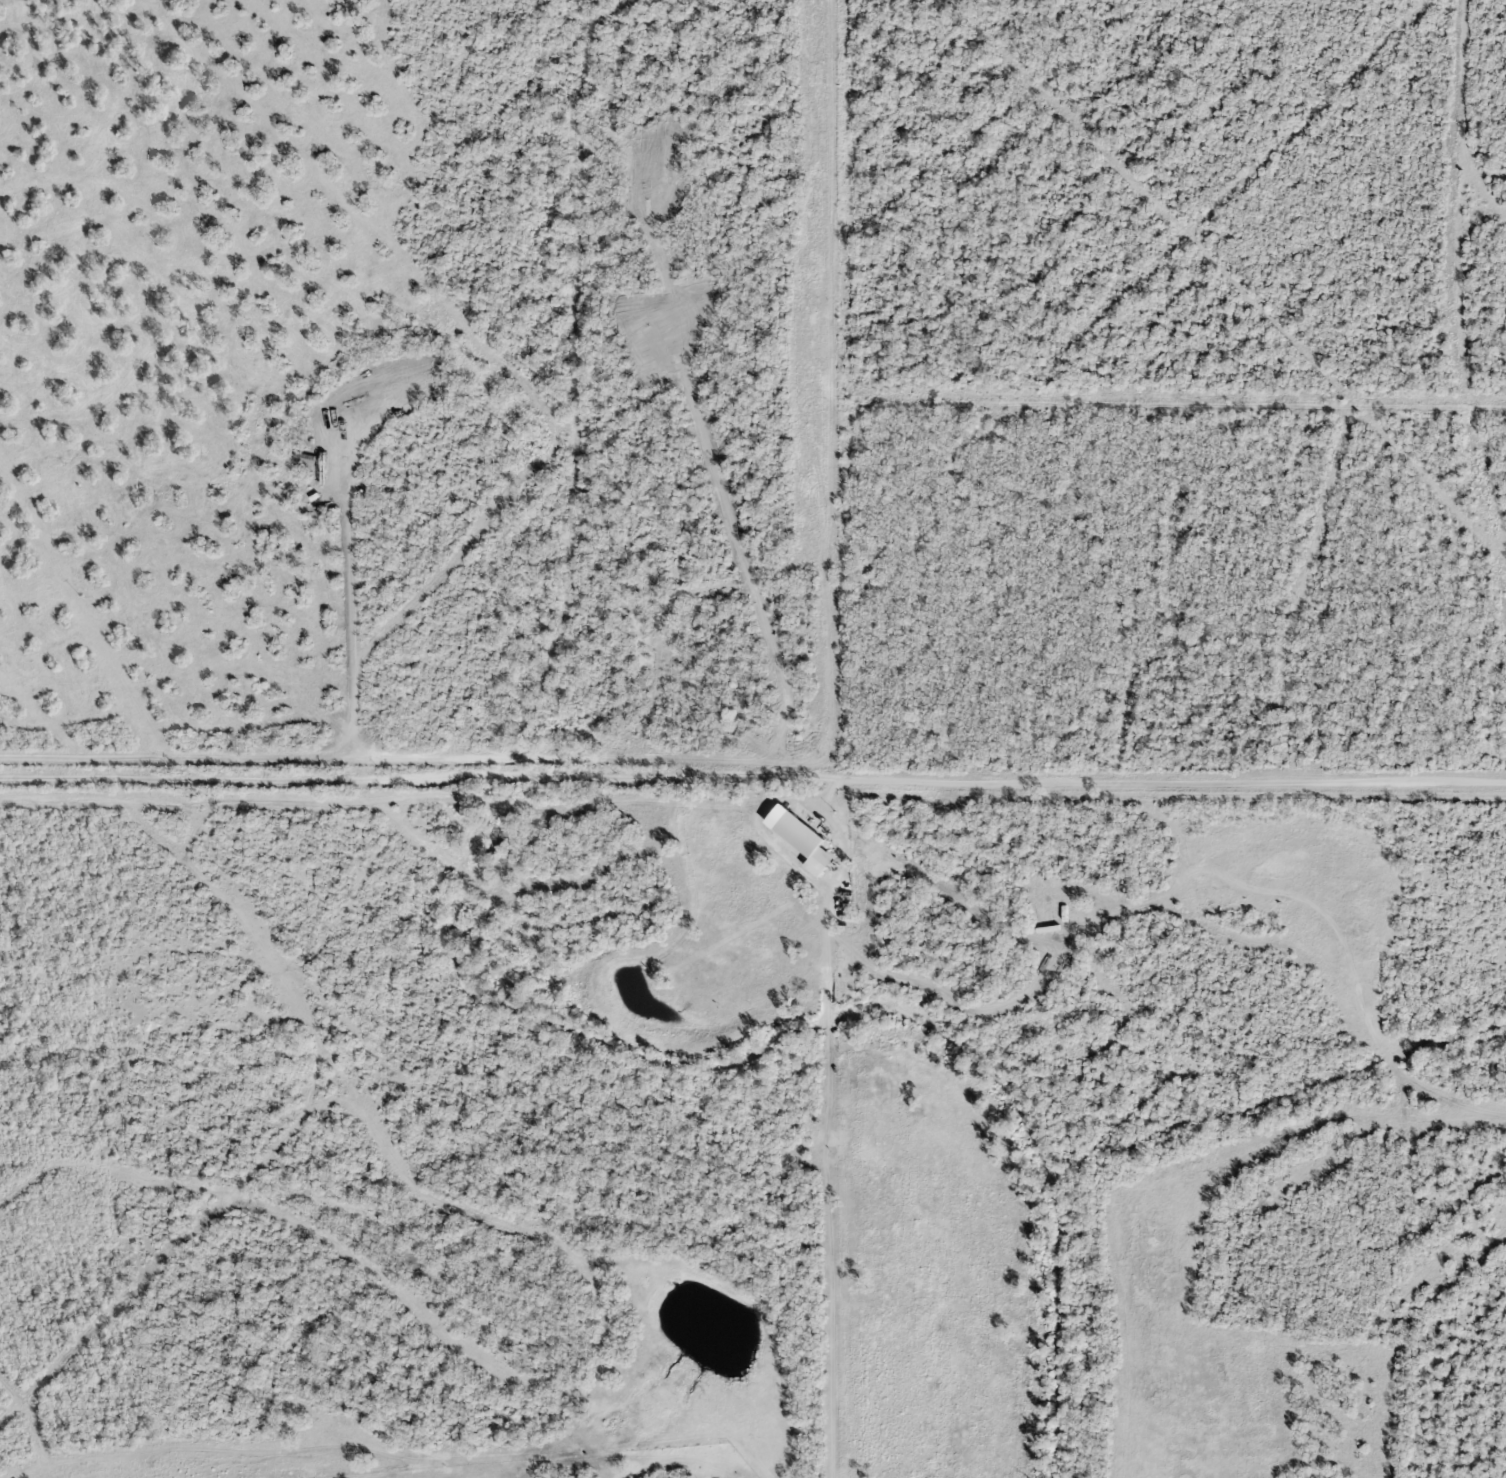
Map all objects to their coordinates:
road: (1169, 777)
building: (793, 829)
building: (826, 853)
building: (810, 864)

